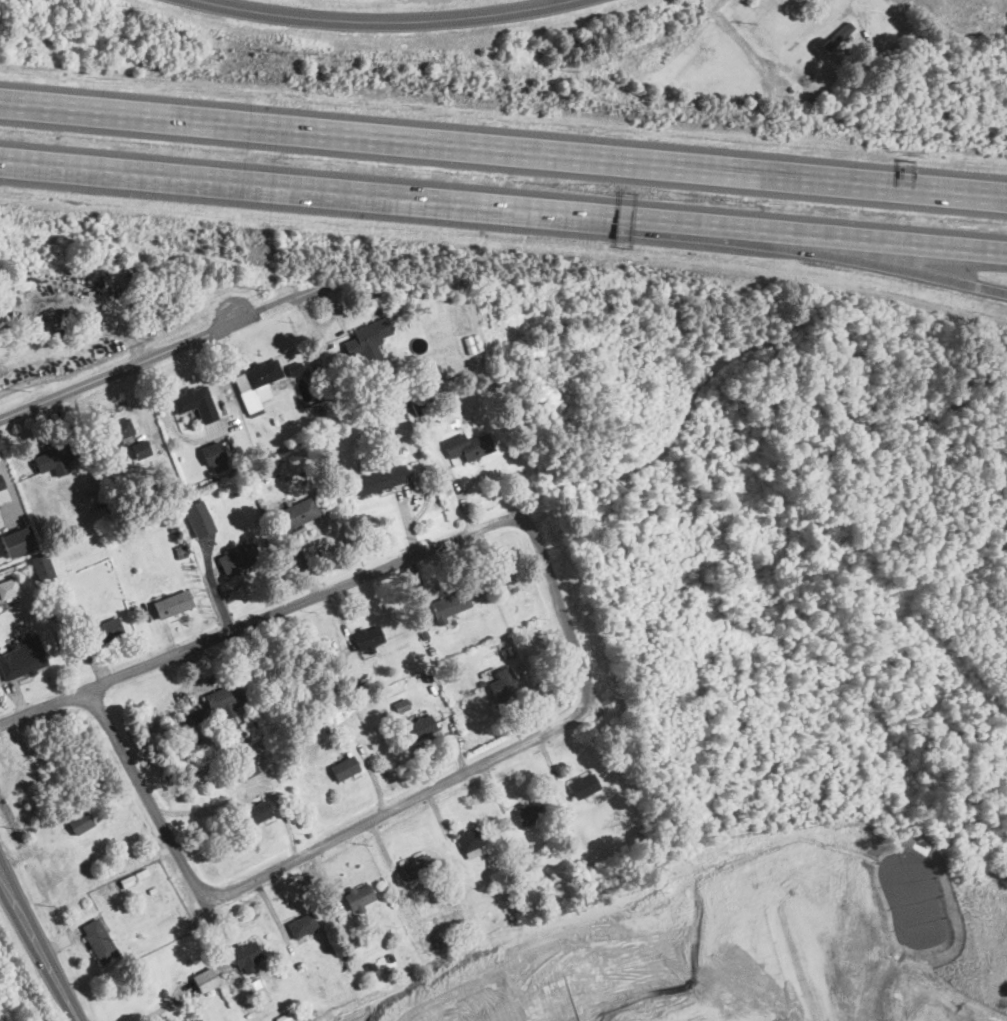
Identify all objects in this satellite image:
road: (547, 0)
road: (865, 5)
road: (381, 17)
building: (838, 37)
road: (503, 148)
road: (376, 196)
road: (880, 244)
road: (880, 262)
building: (367, 339)
road: (158, 350)
building: (295, 367)
building: (256, 383)
road: (146, 401)
building: (195, 402)
building: (114, 434)
building: (142, 446)
building: (467, 446)
building: (214, 456)
building: (53, 459)
building: (381, 479)
building: (1, 480)
building: (3, 493)
building: (299, 514)
building: (199, 519)
building: (16, 542)
building: (239, 558)
building: (41, 567)
building: (8, 588)
building: (173, 604)
building: (450, 604)
building: (100, 630)
building: (369, 639)
building: (23, 657)
building: (501, 684)
building: (225, 697)
road: (44, 706)
building: (192, 717)
building: (420, 728)
building: (247, 768)
building: (344, 768)
building: (584, 784)
road: (247, 791)
building: (528, 811)
building: (255, 813)
building: (80, 822)
building: (472, 840)
building: (417, 867)
road: (198, 887)
building: (358, 898)
building: (301, 925)
building: (99, 940)
road: (38, 947)
building: (247, 956)
building: (206, 979)
building: (199, 1020)

